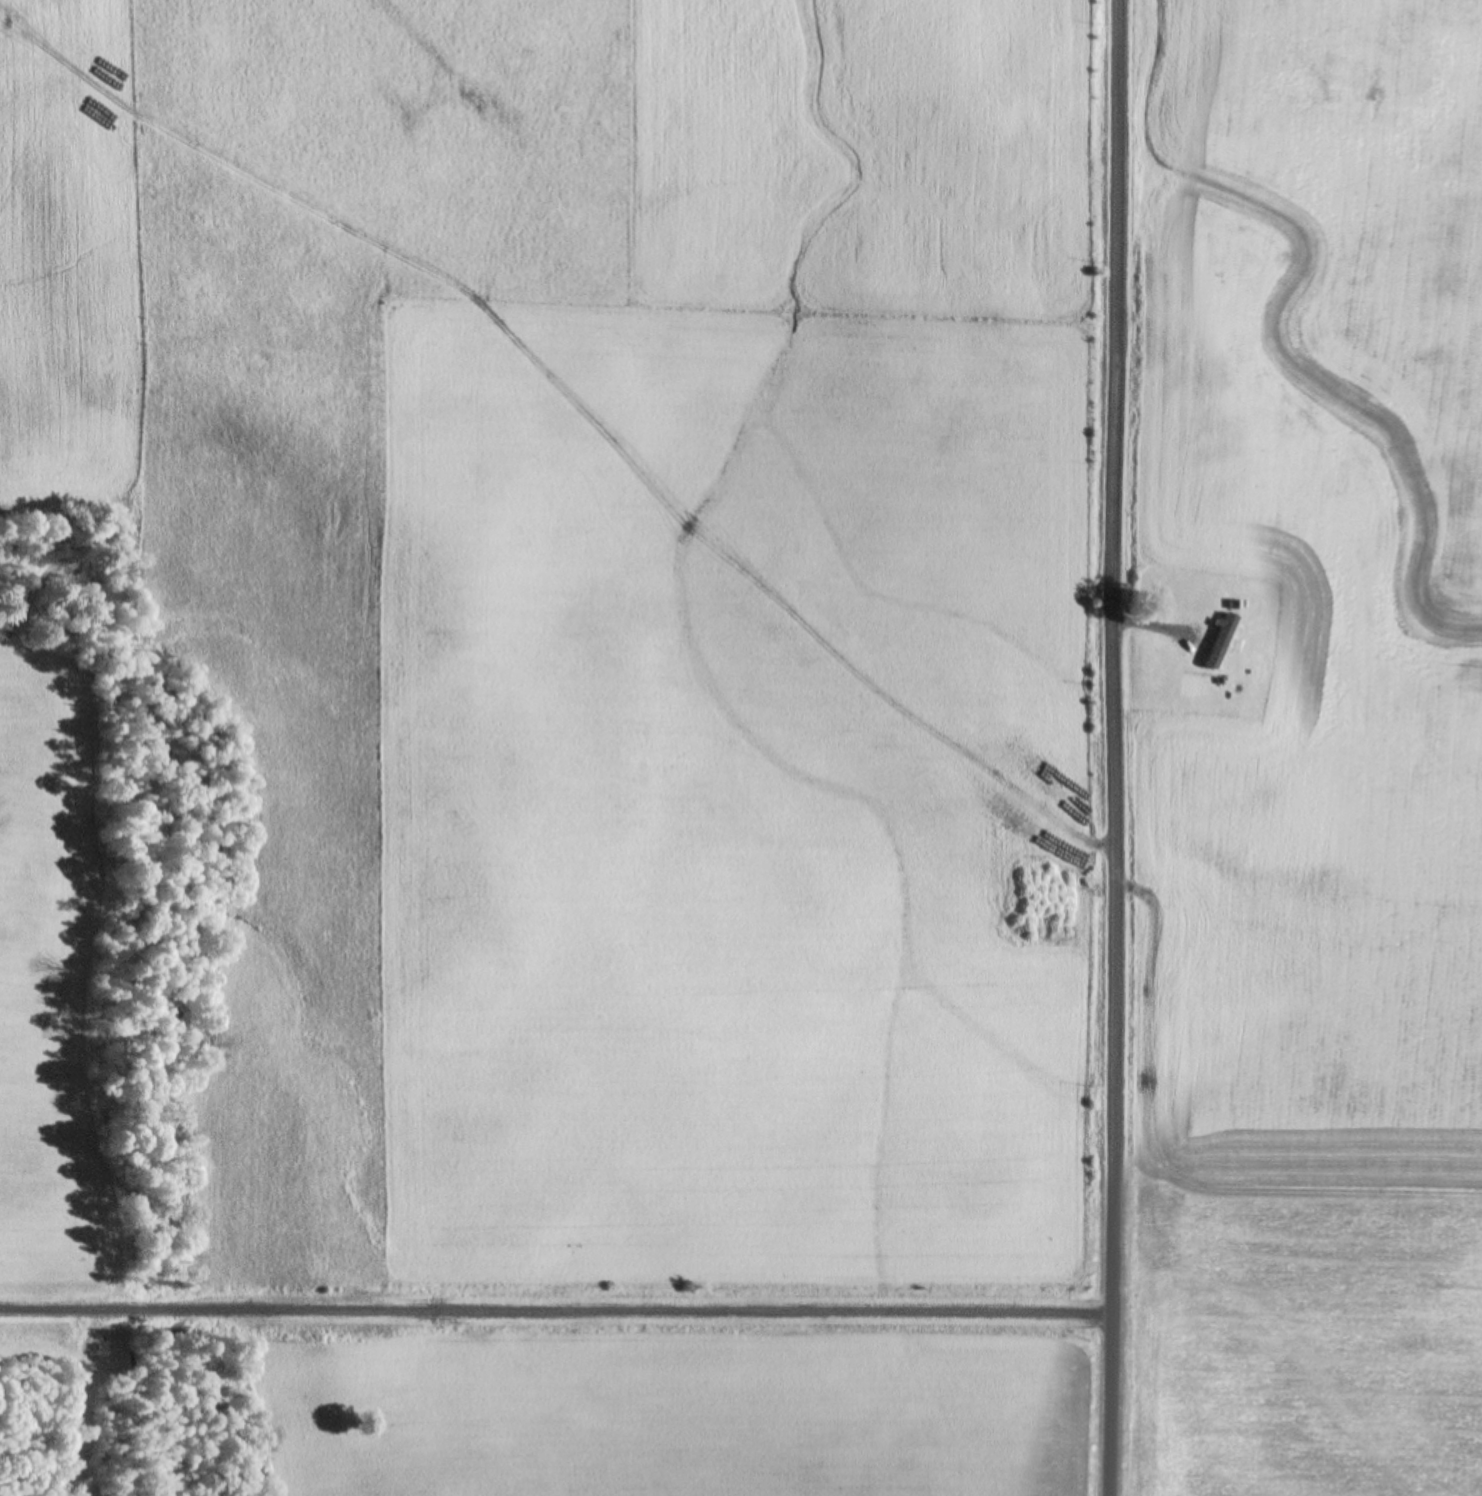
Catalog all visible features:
building: (1234, 602)
road: (1149, 627)
building: (1221, 638)
road: (1112, 747)
road: (555, 1309)

